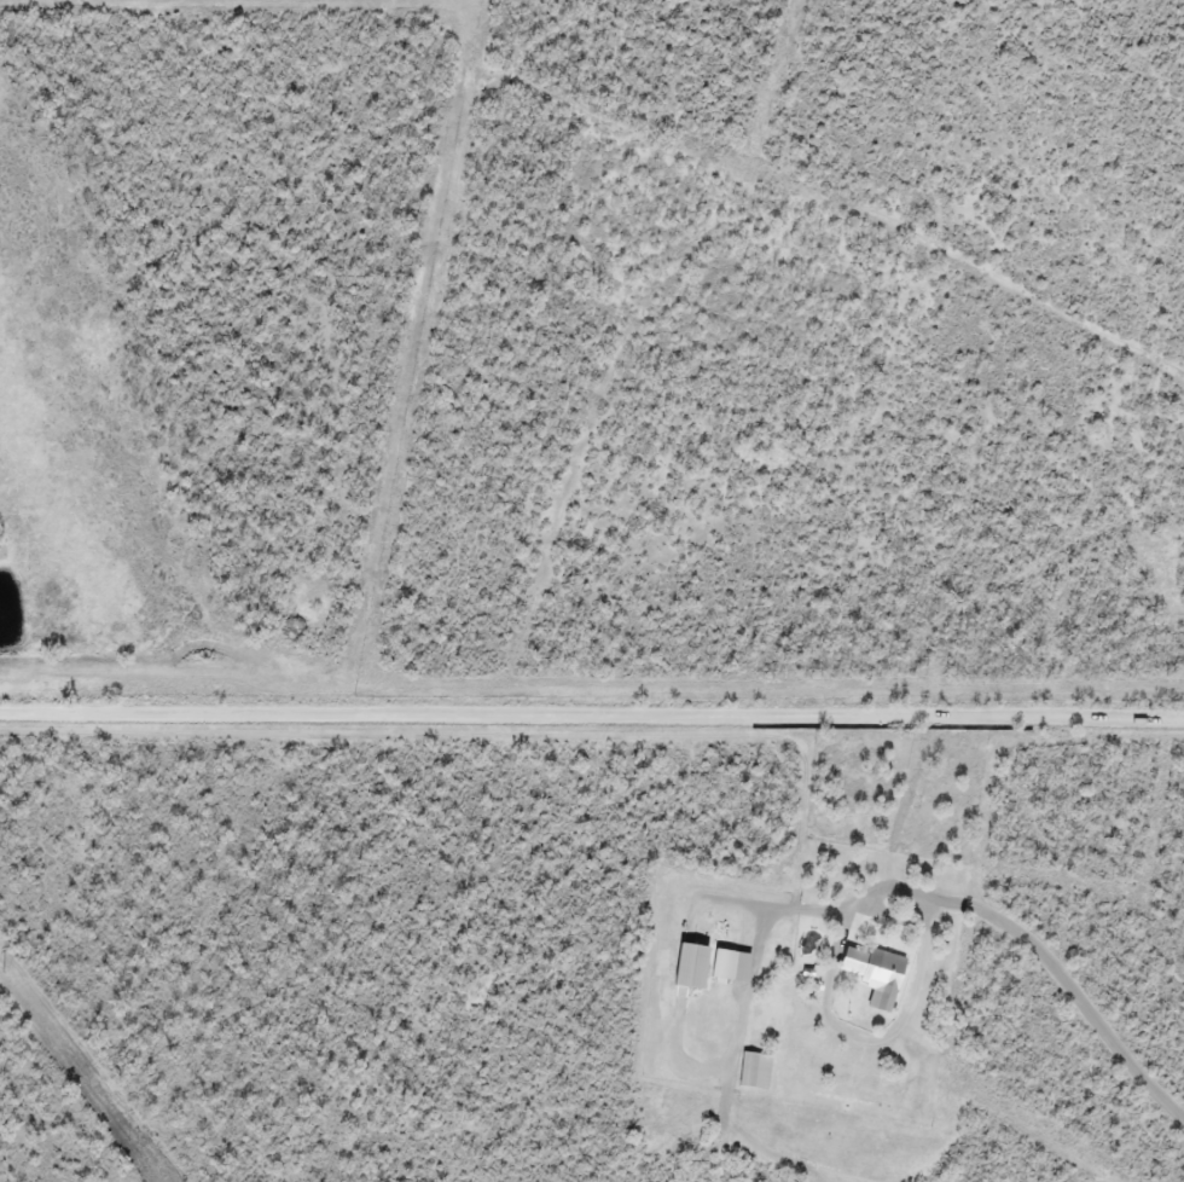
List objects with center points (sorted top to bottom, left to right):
road: (591, 718)
road: (987, 917)
building: (847, 963)
building: (726, 968)
building: (878, 973)
power tower: (7, 974)

